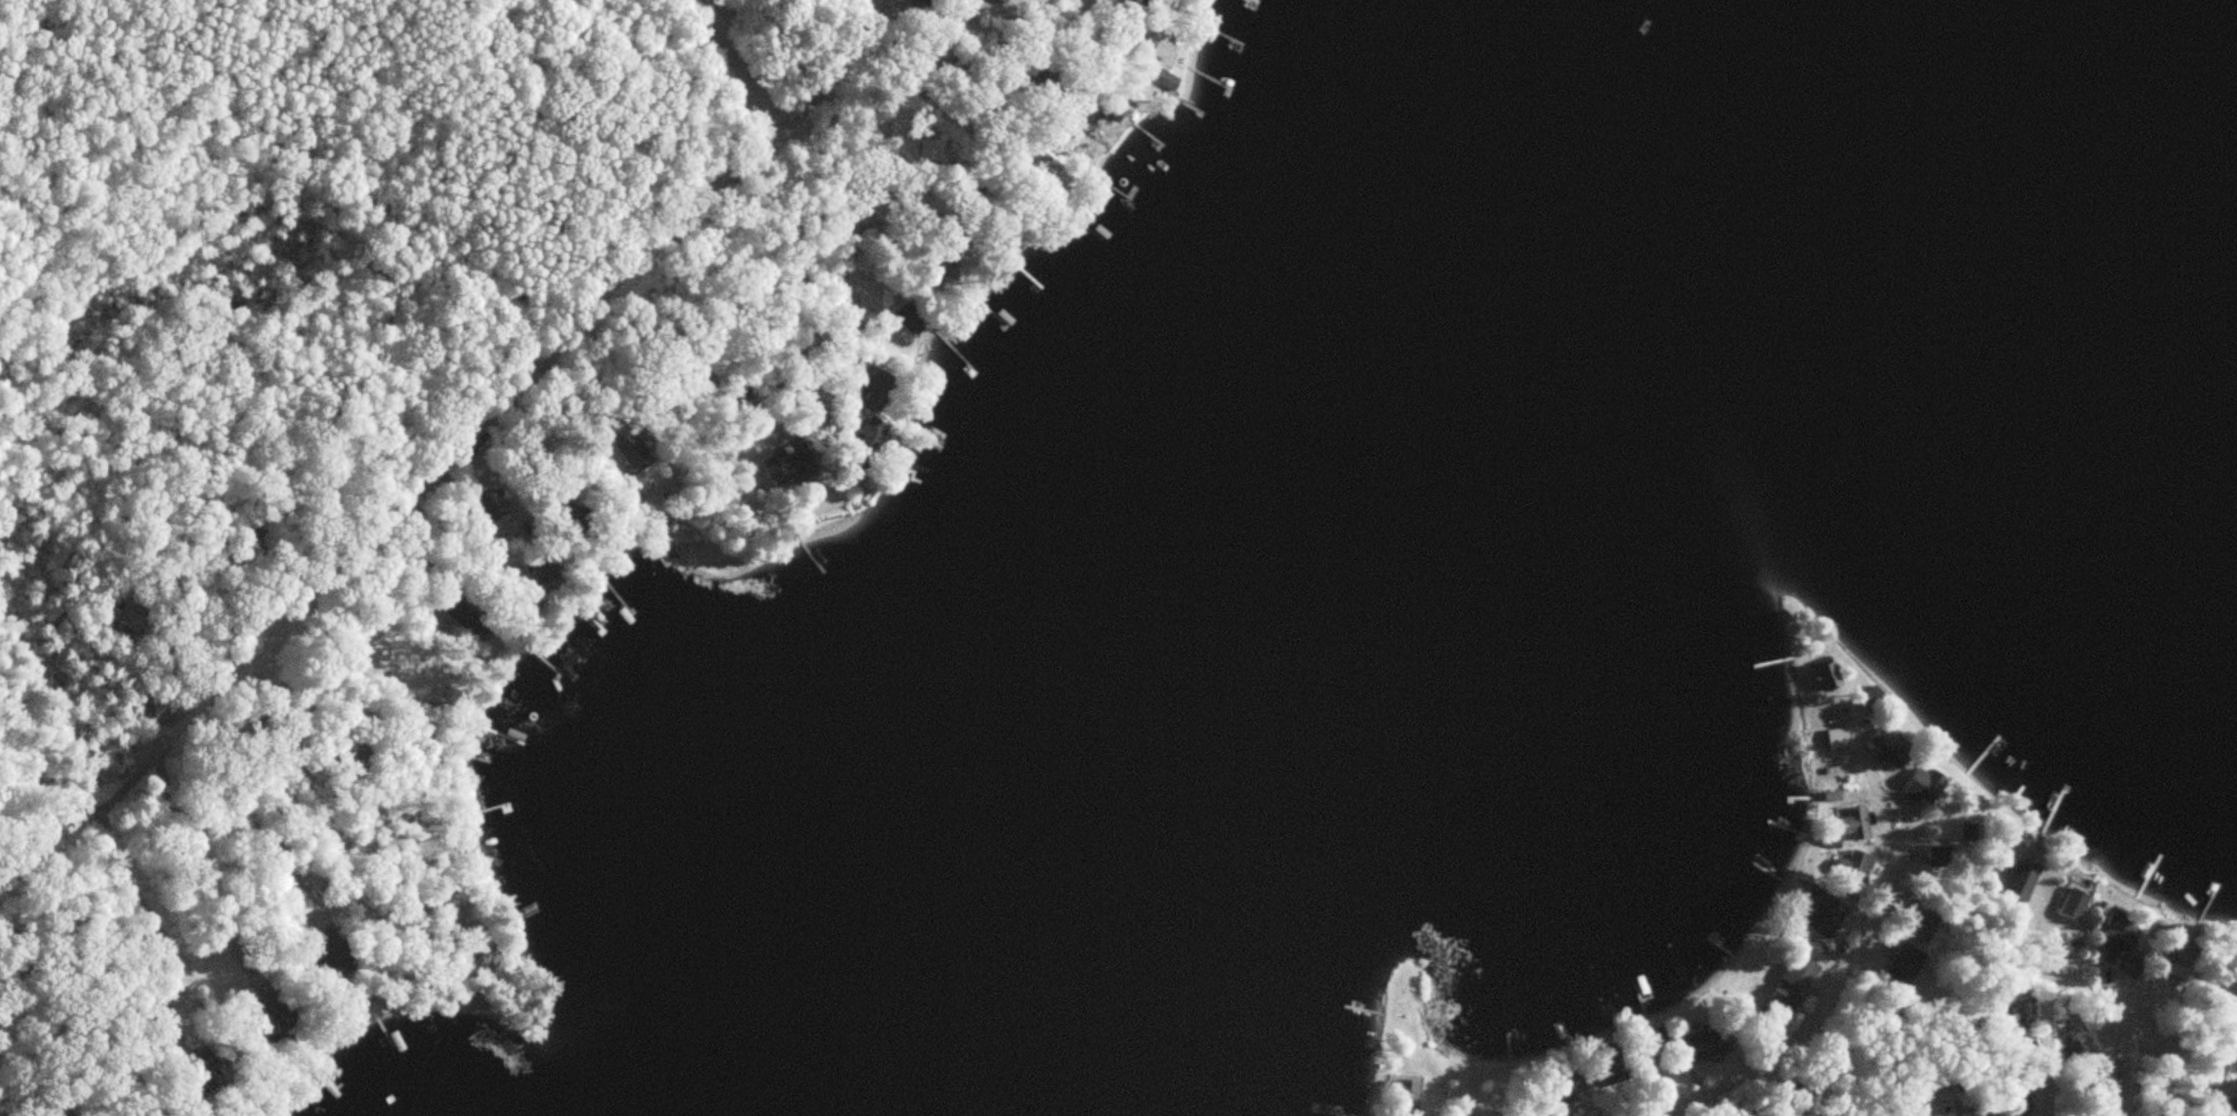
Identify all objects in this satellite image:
building: (1009, 0)
building: (940, 4)
building: (1101, 51)
building: (1007, 57)
building: (1166, 77)
building: (1040, 162)
road: (844, 211)
road: (803, 287)
building: (912, 314)
building: (875, 383)
road: (504, 394)
building: (870, 441)
building: (636, 450)
building: (801, 462)
building: (497, 502)
building: (542, 577)
building: (469, 616)
building: (131, 618)
building: (1840, 674)
building: (1882, 697)
building: (1848, 735)
building: (1897, 747)
building: (356, 755)
building: (1928, 786)
building: (1861, 821)
building: (1860, 867)
building: (2026, 880)
building: (2077, 902)
building: (1831, 913)
building: (1922, 928)
building: (2124, 930)
building: (337, 954)
building: (1809, 962)
building: (1906, 962)
road: (1838, 968)
building: (1784, 1003)
building: (162, 1006)
park: (59, 1009)
building: (279, 1013)
road: (2046, 1035)
building: (1713, 1043)
road: (1772, 1060)
building: (209, 1066)
building: (1580, 1080)
building: (1409, 1096)
road: (23, 1098)

